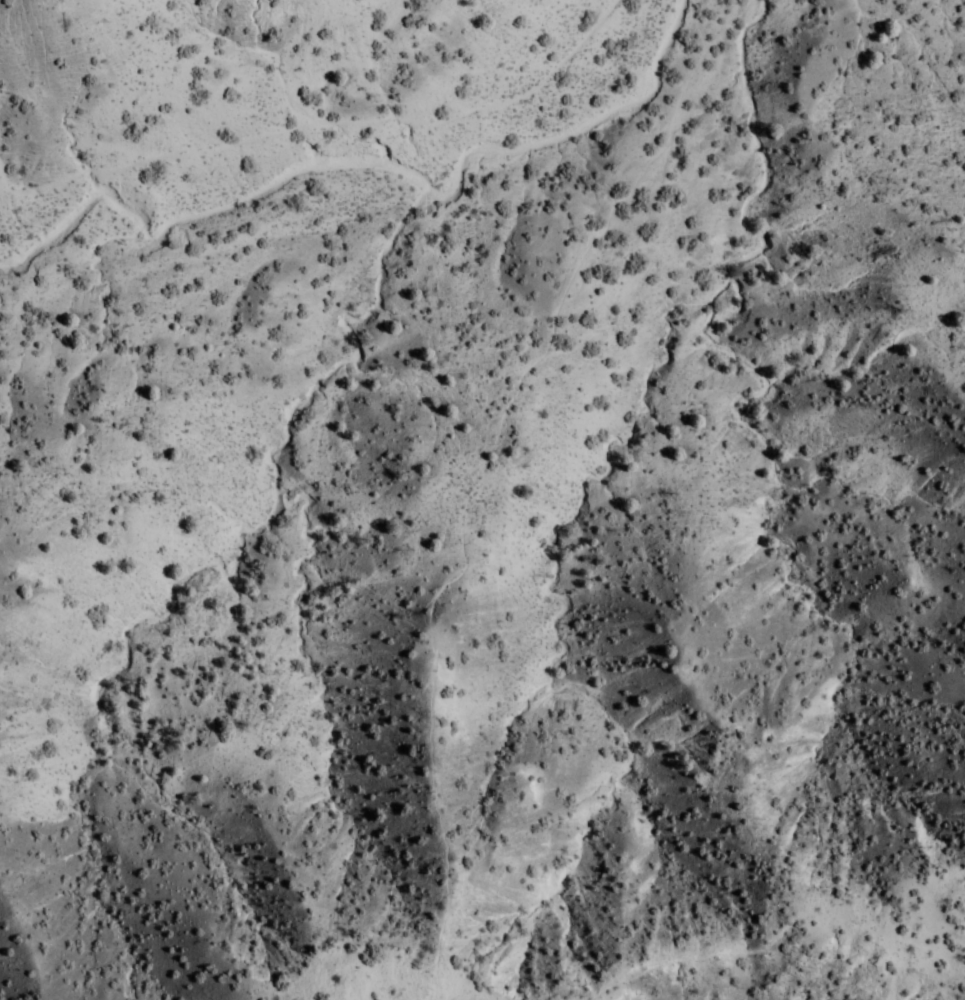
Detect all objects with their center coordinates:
road: (323, 123)

